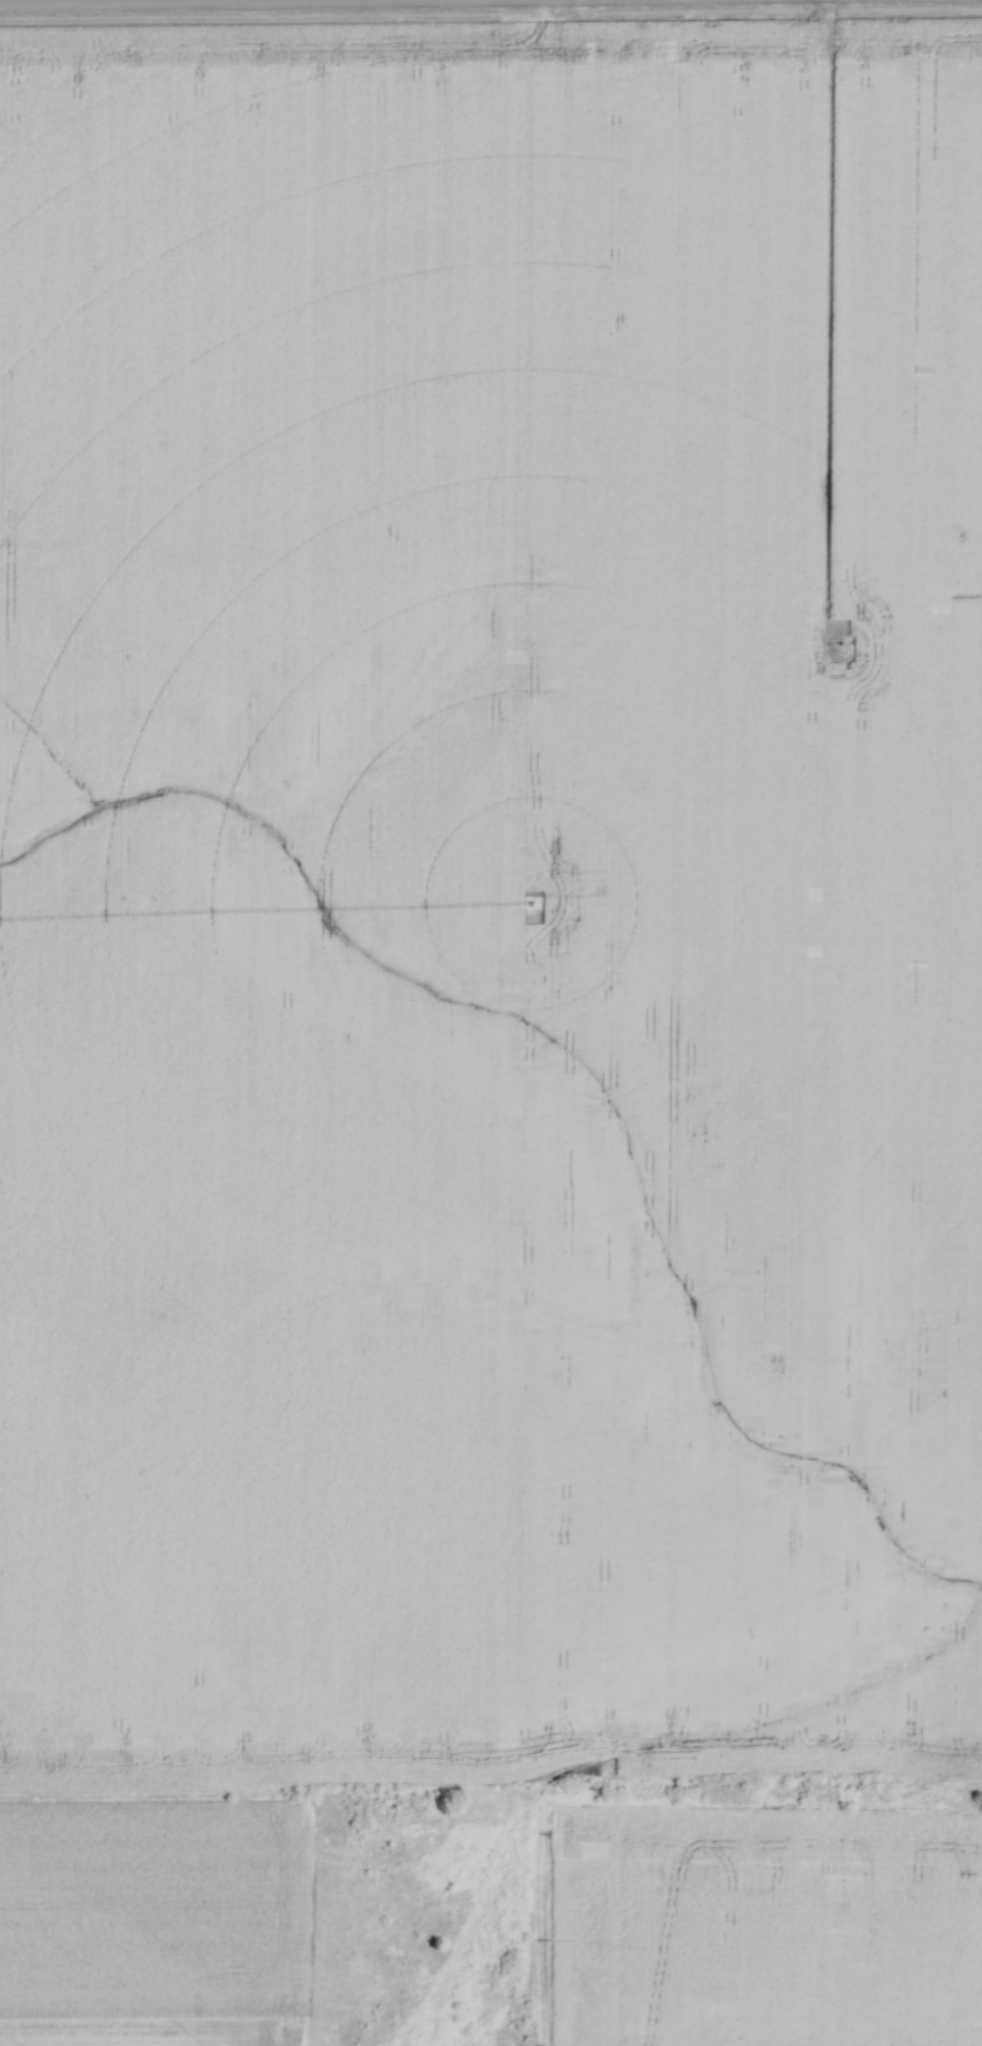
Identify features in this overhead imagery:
road: (388, 3)

